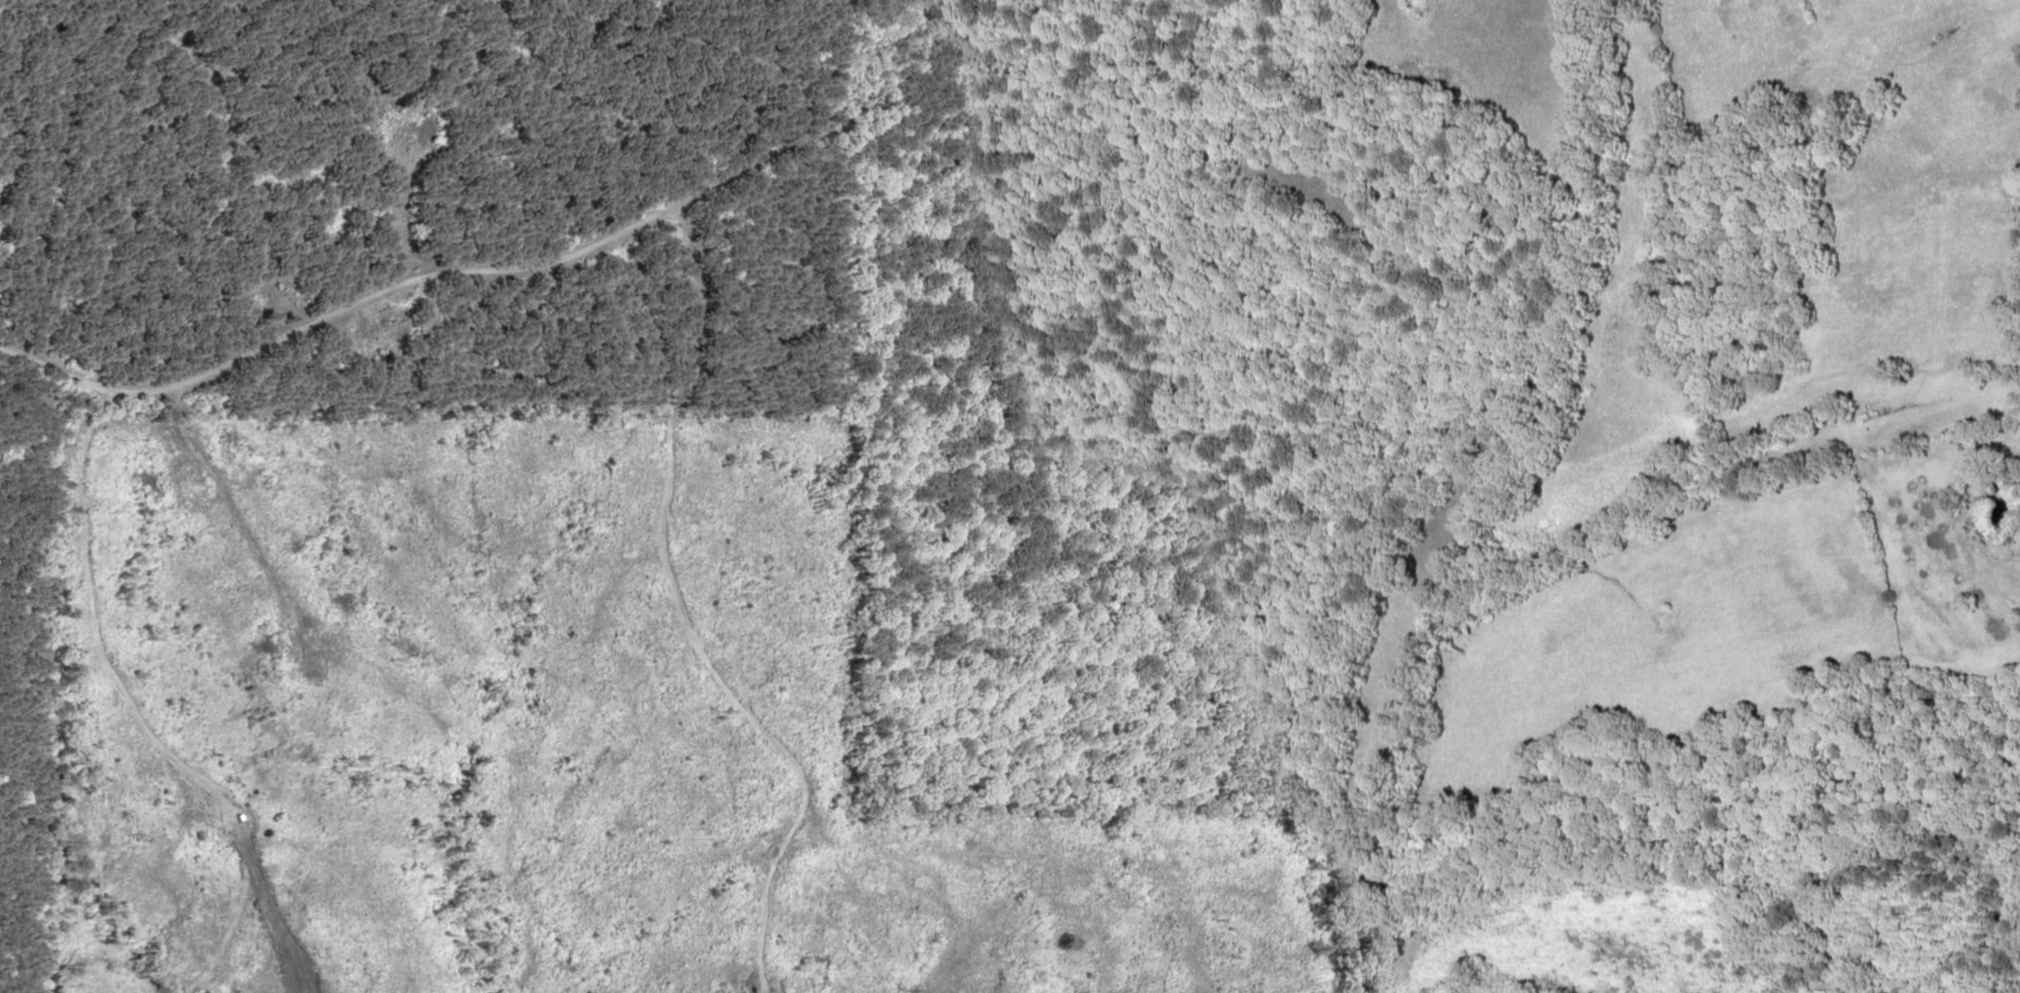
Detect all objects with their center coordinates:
road: (614, 96)
road: (498, 260)

